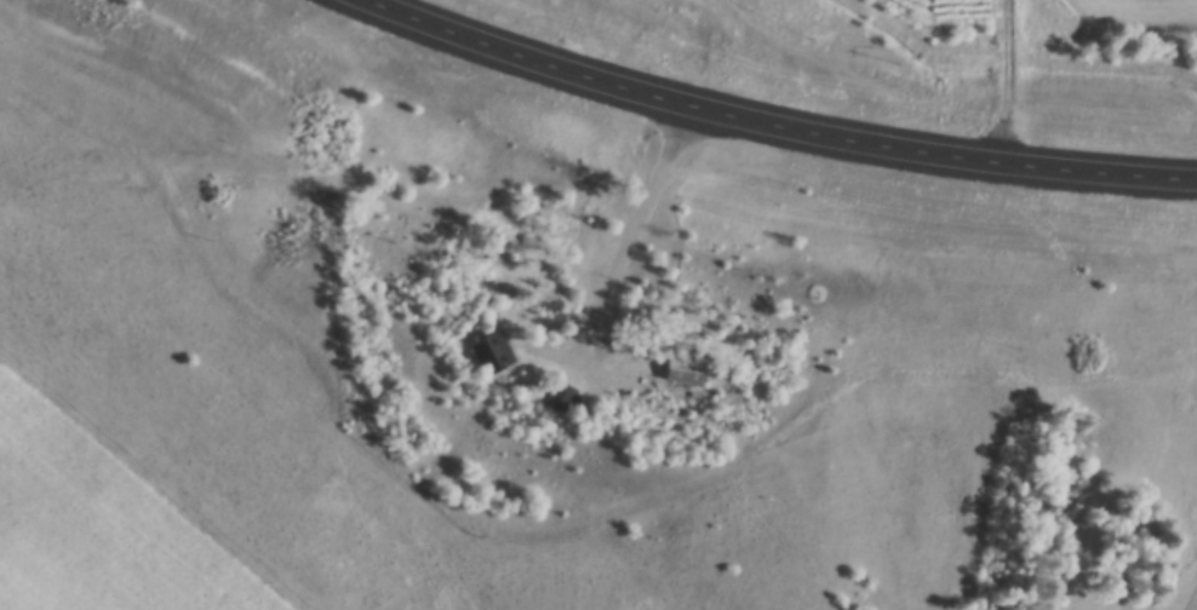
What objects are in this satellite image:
road: (1133, 86)
road: (783, 132)
road: (625, 235)
building: (493, 353)
building: (683, 372)
building: (562, 398)
road: (1189, 598)

